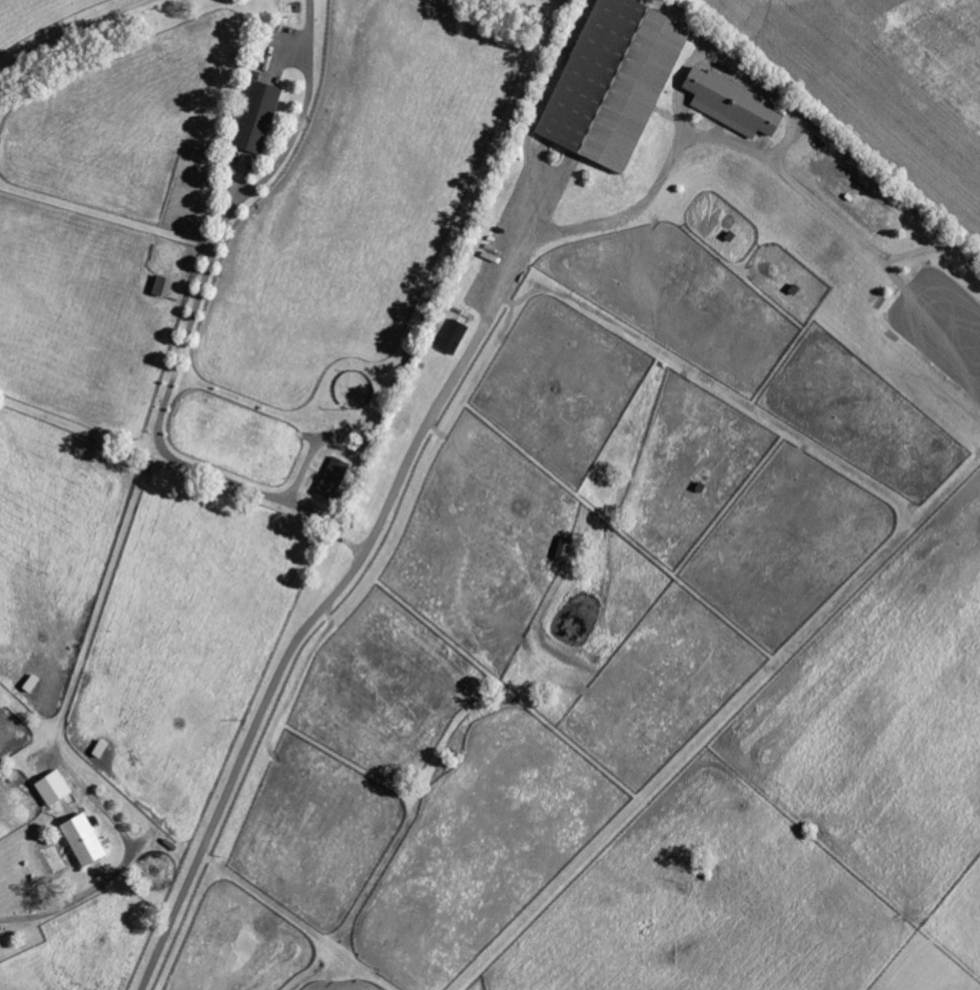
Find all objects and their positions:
road: (70, 33)
building: (619, 81)
building: (736, 104)
building: (260, 118)
road: (302, 118)
building: (455, 337)
road: (459, 370)
building: (567, 549)
building: (57, 789)
building: (88, 841)
road: (77, 898)

